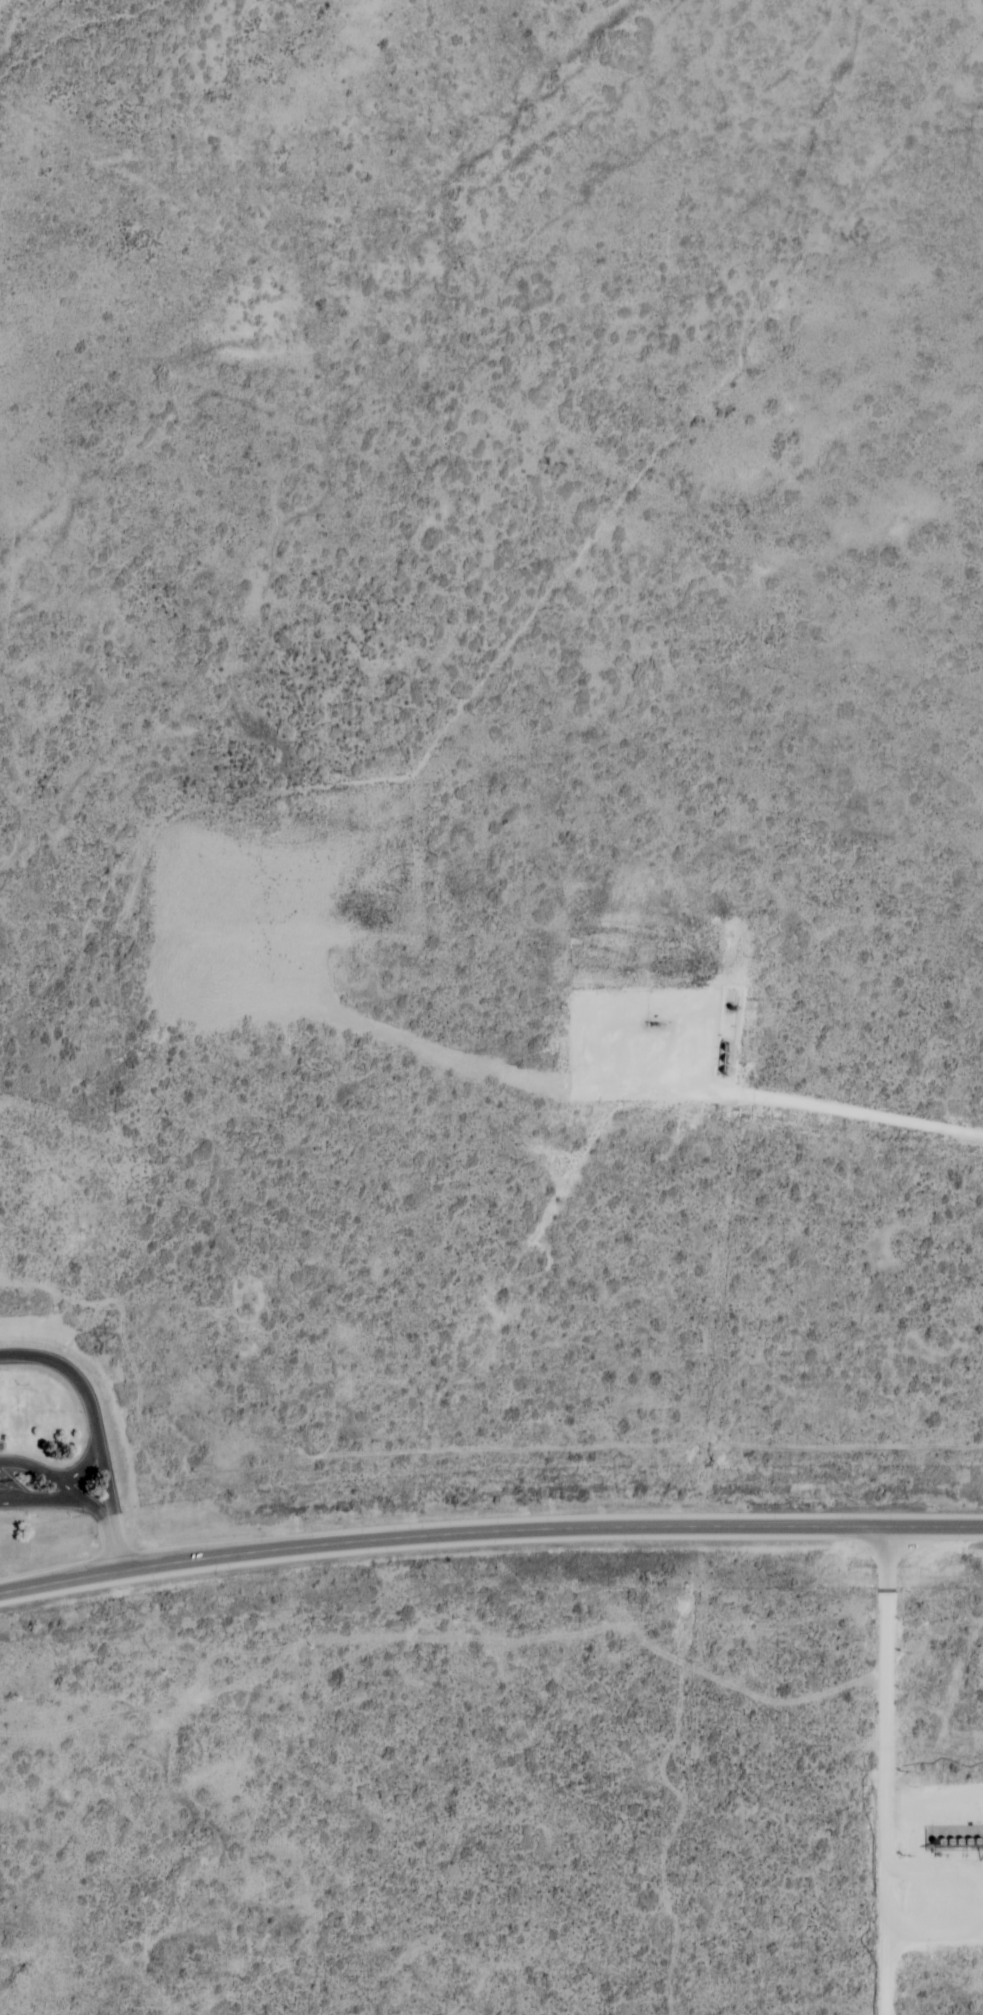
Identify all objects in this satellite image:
road: (102, 1463)
road: (61, 1484)
road: (489, 1537)
road: (115, 1547)

